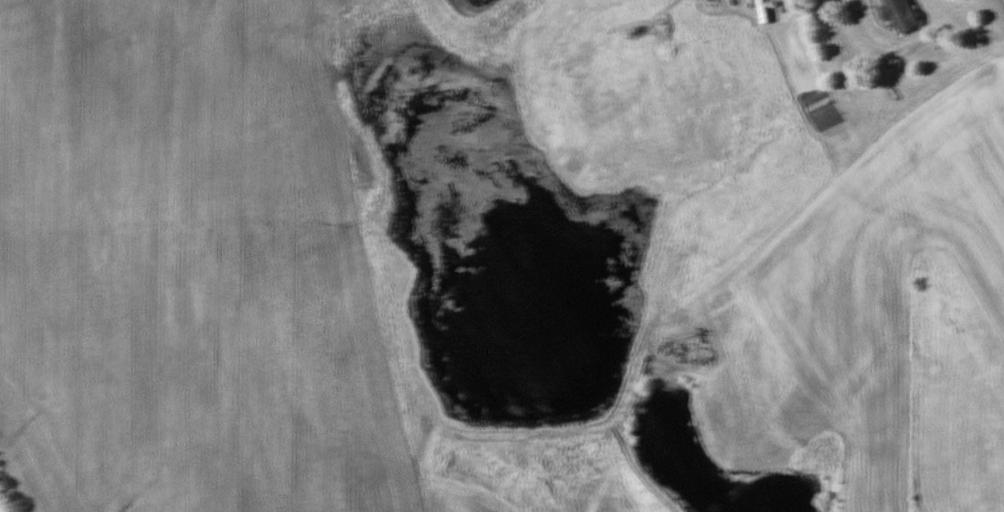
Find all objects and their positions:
building: (898, 14)

